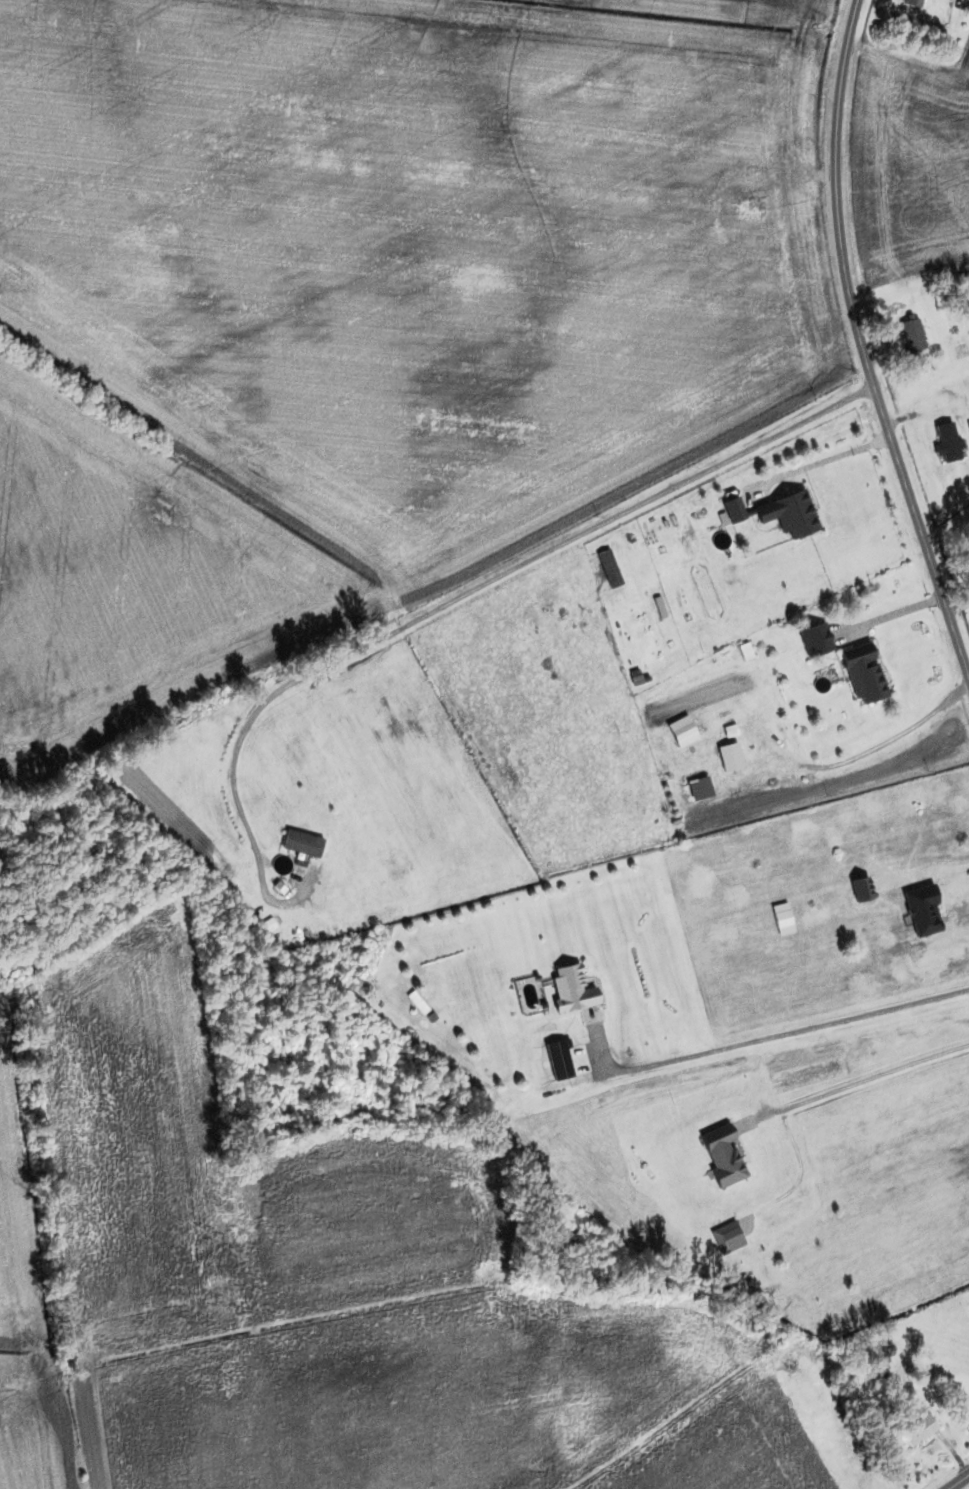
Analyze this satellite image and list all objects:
building: (915, 3)
building: (913, 334)
road: (862, 342)
building: (948, 443)
building: (734, 510)
building: (790, 514)
building: (610, 568)
building: (864, 674)
road: (879, 744)
building: (700, 789)
building: (862, 889)
building: (572, 989)
building: (724, 1156)
building: (728, 1238)
building: (920, 1430)
road: (958, 1481)

